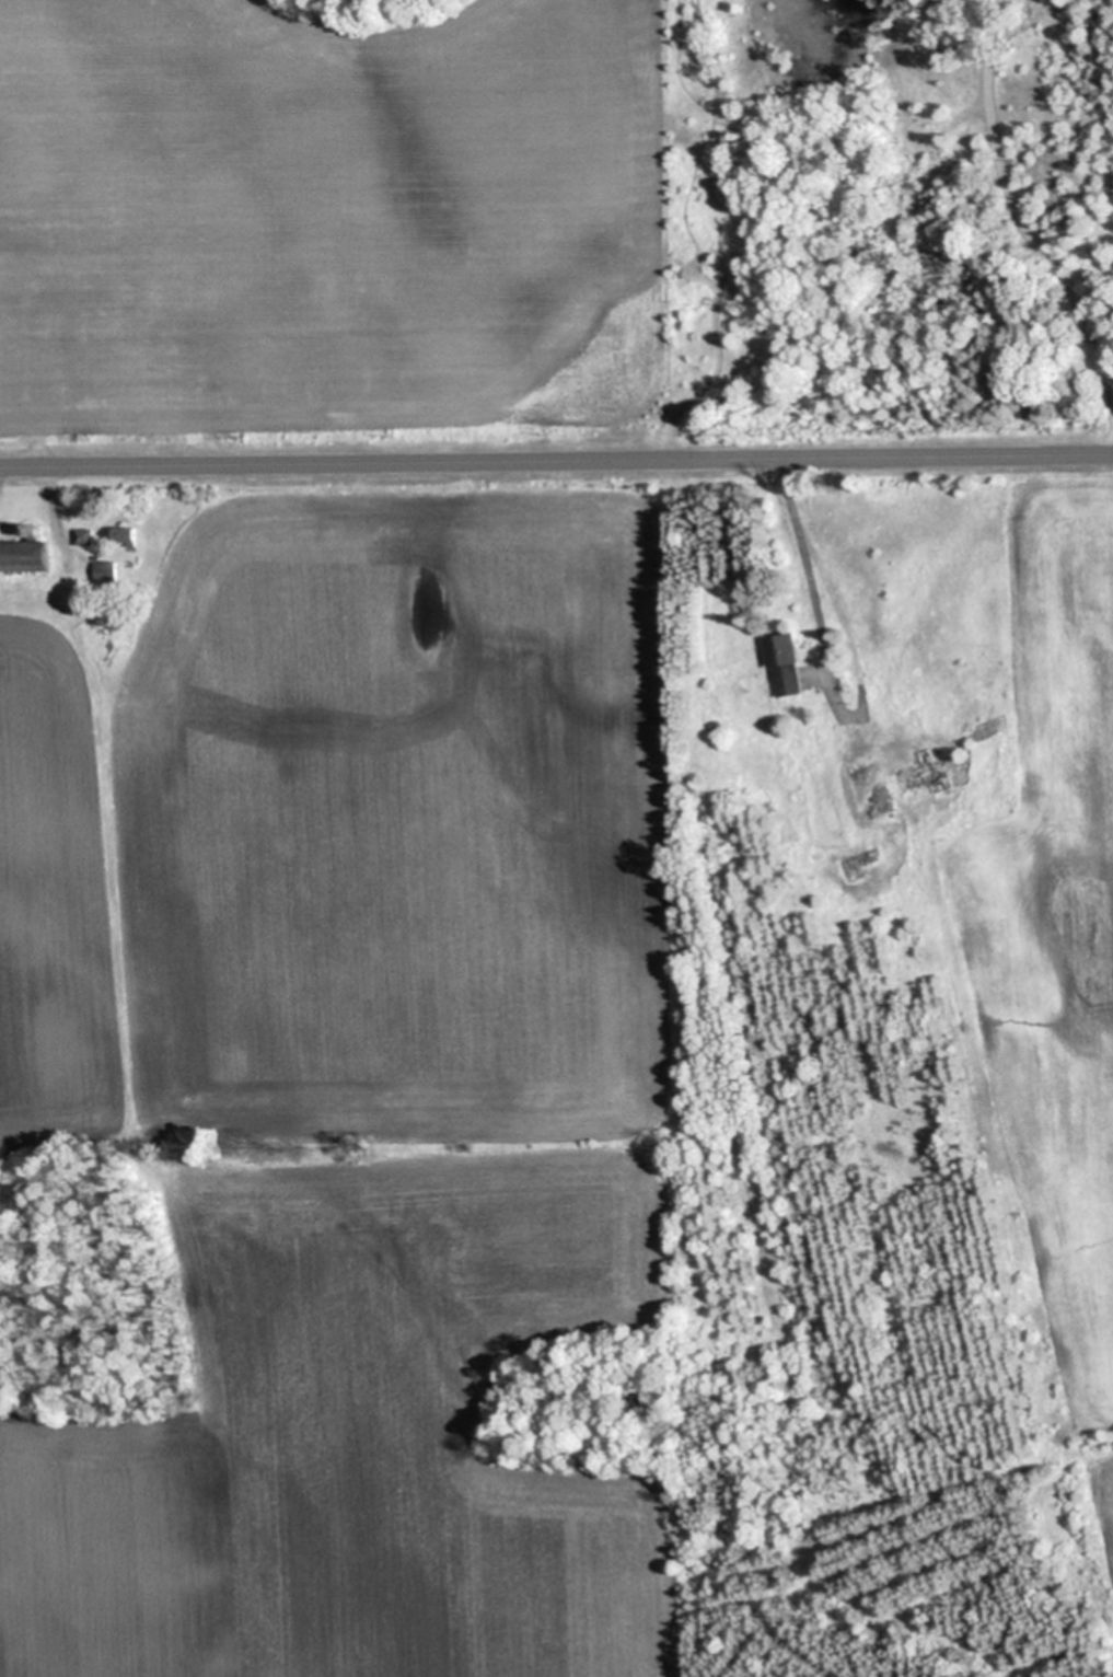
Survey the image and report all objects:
road: (556, 461)
building: (84, 536)
building: (128, 536)
building: (26, 557)
building: (106, 571)
building: (787, 667)
quarry: (916, 1204)

